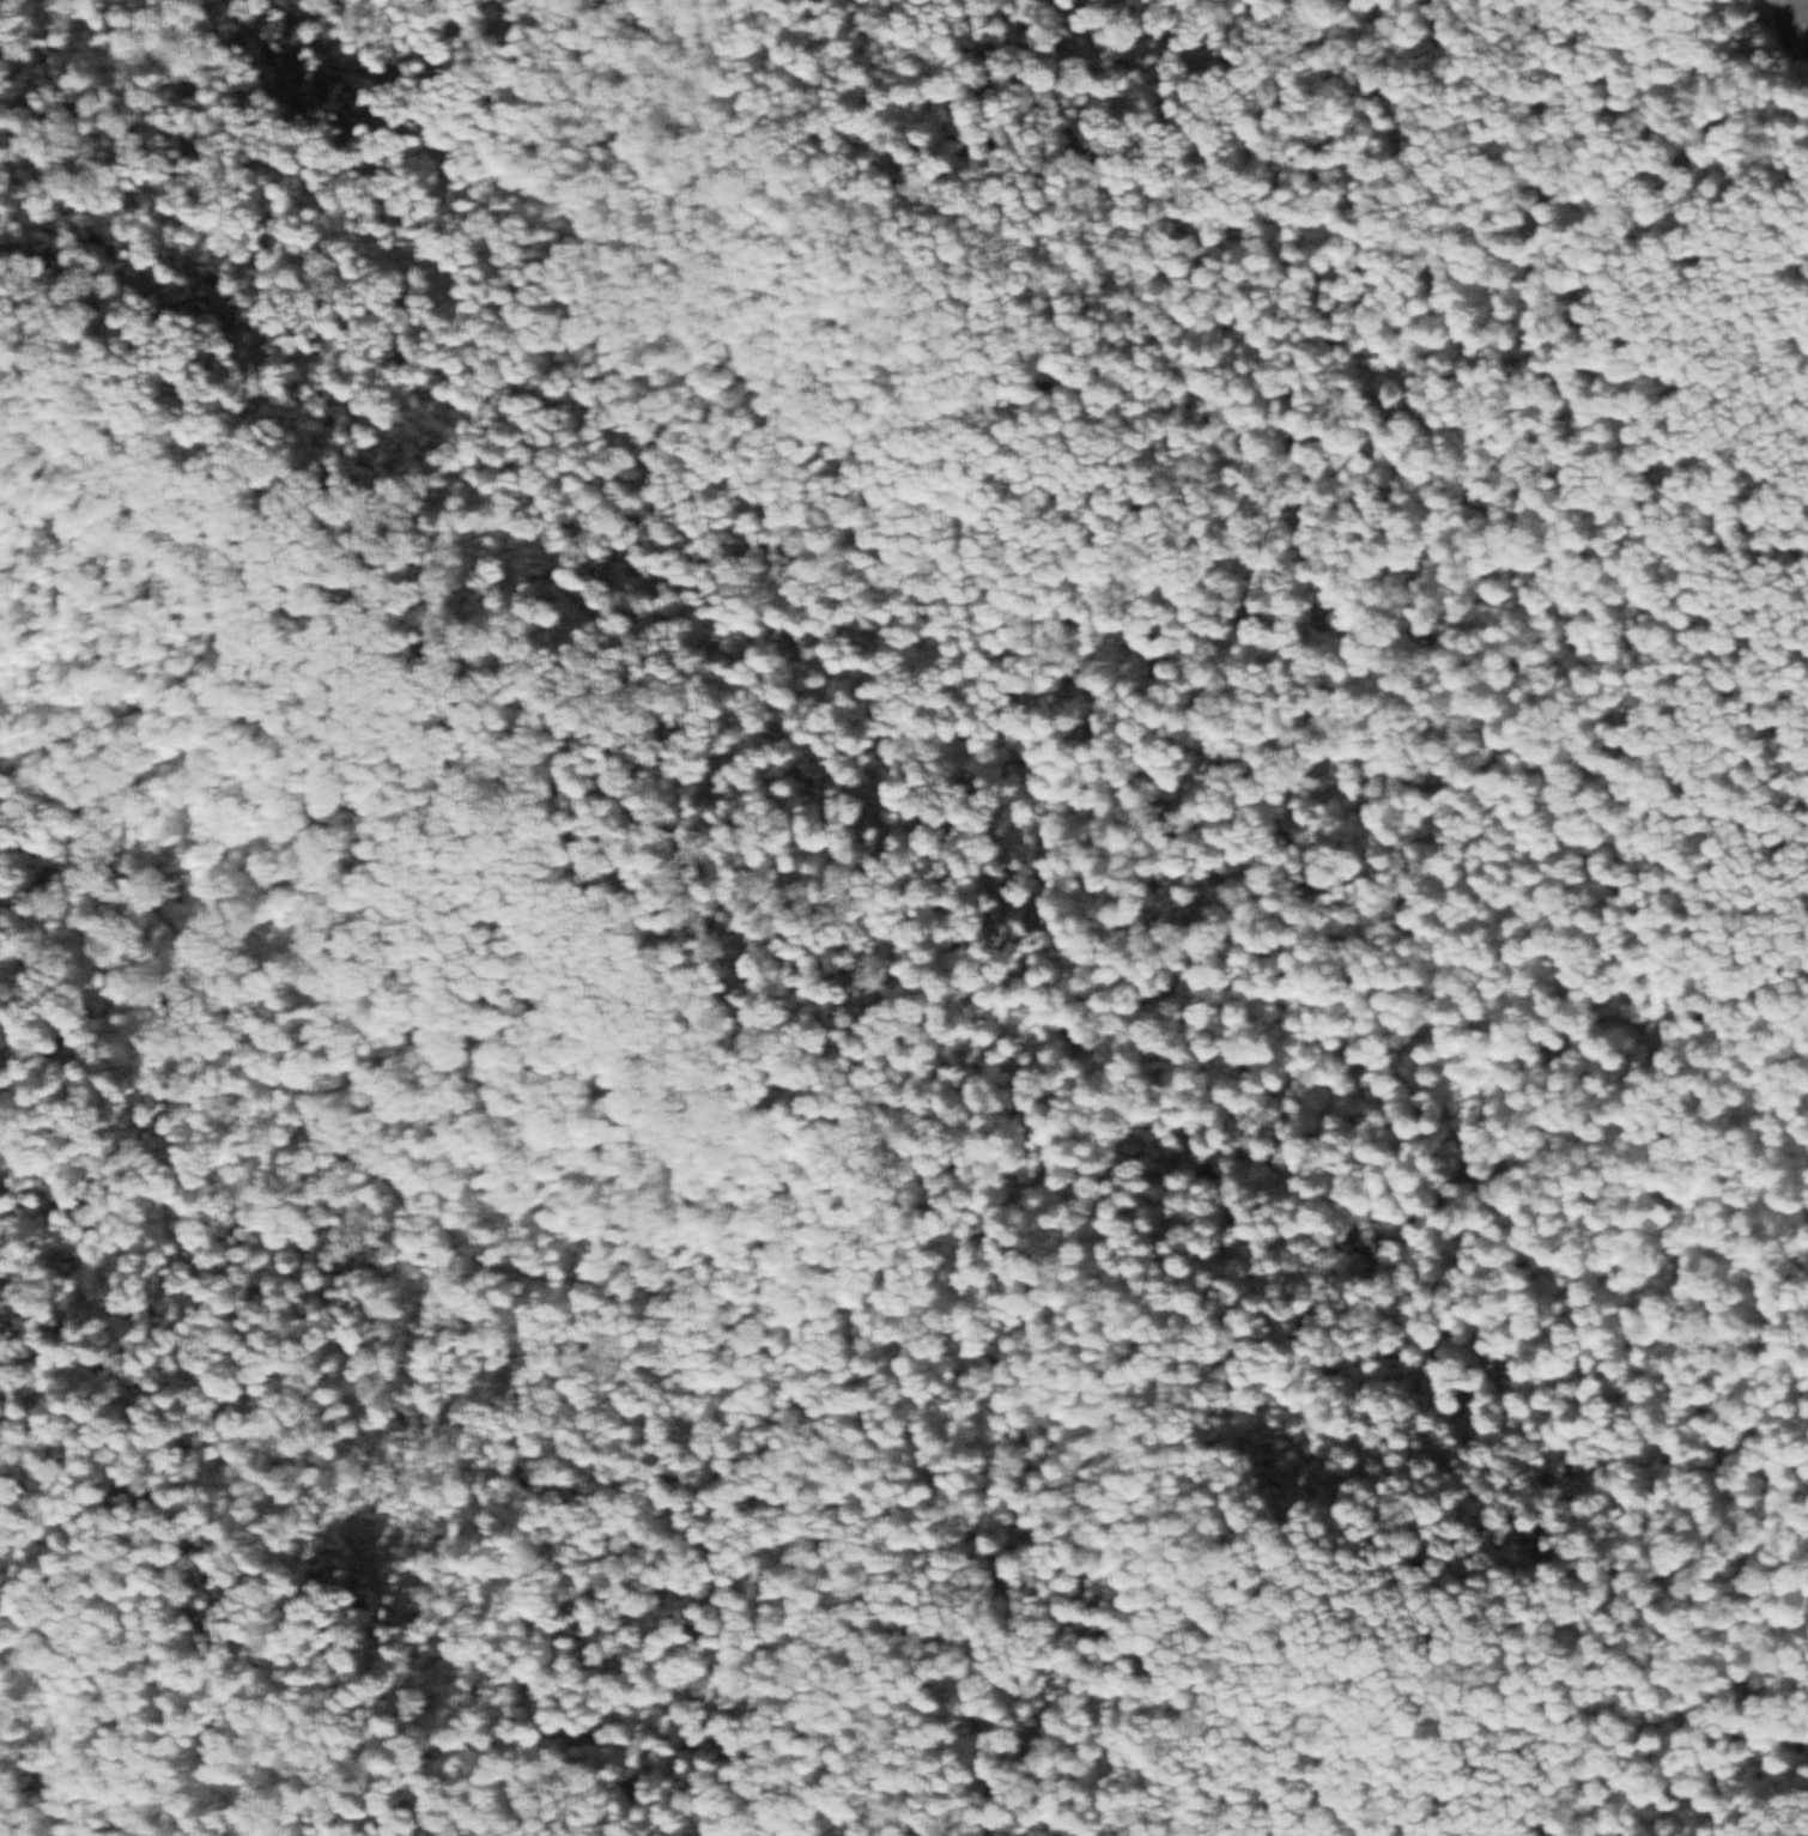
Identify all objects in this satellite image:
road: (61, 727)
road: (71, 807)
road: (597, 1103)
road: (611, 1636)
road: (210, 1664)
road: (4, 1790)

